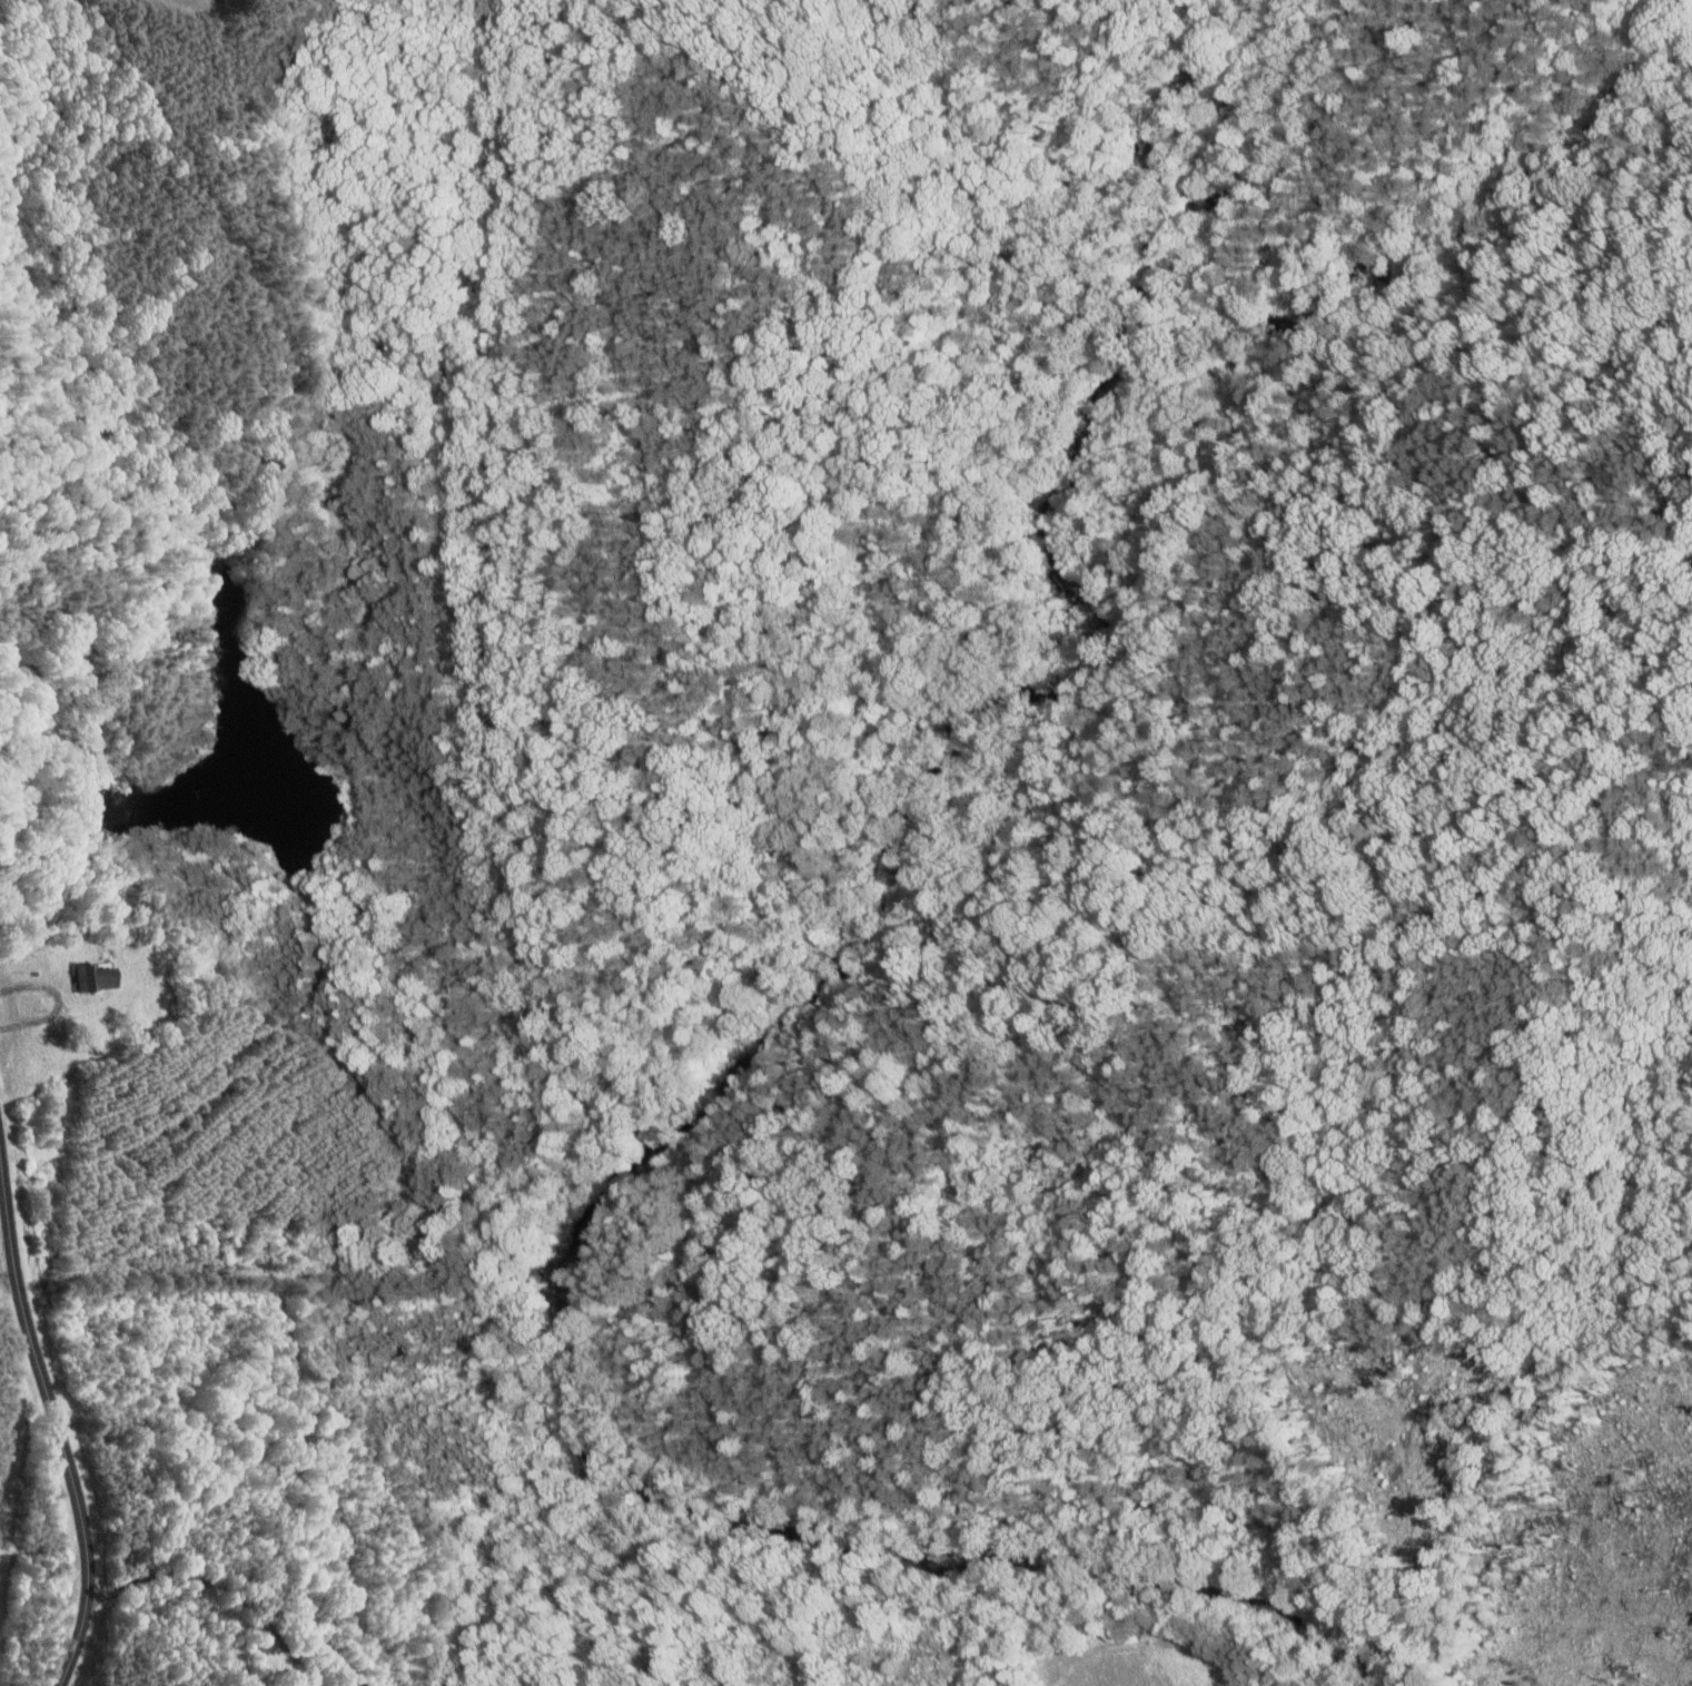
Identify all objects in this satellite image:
building: (98, 976)
road: (58, 1422)
road: (237, 1423)
road: (218, 1588)

